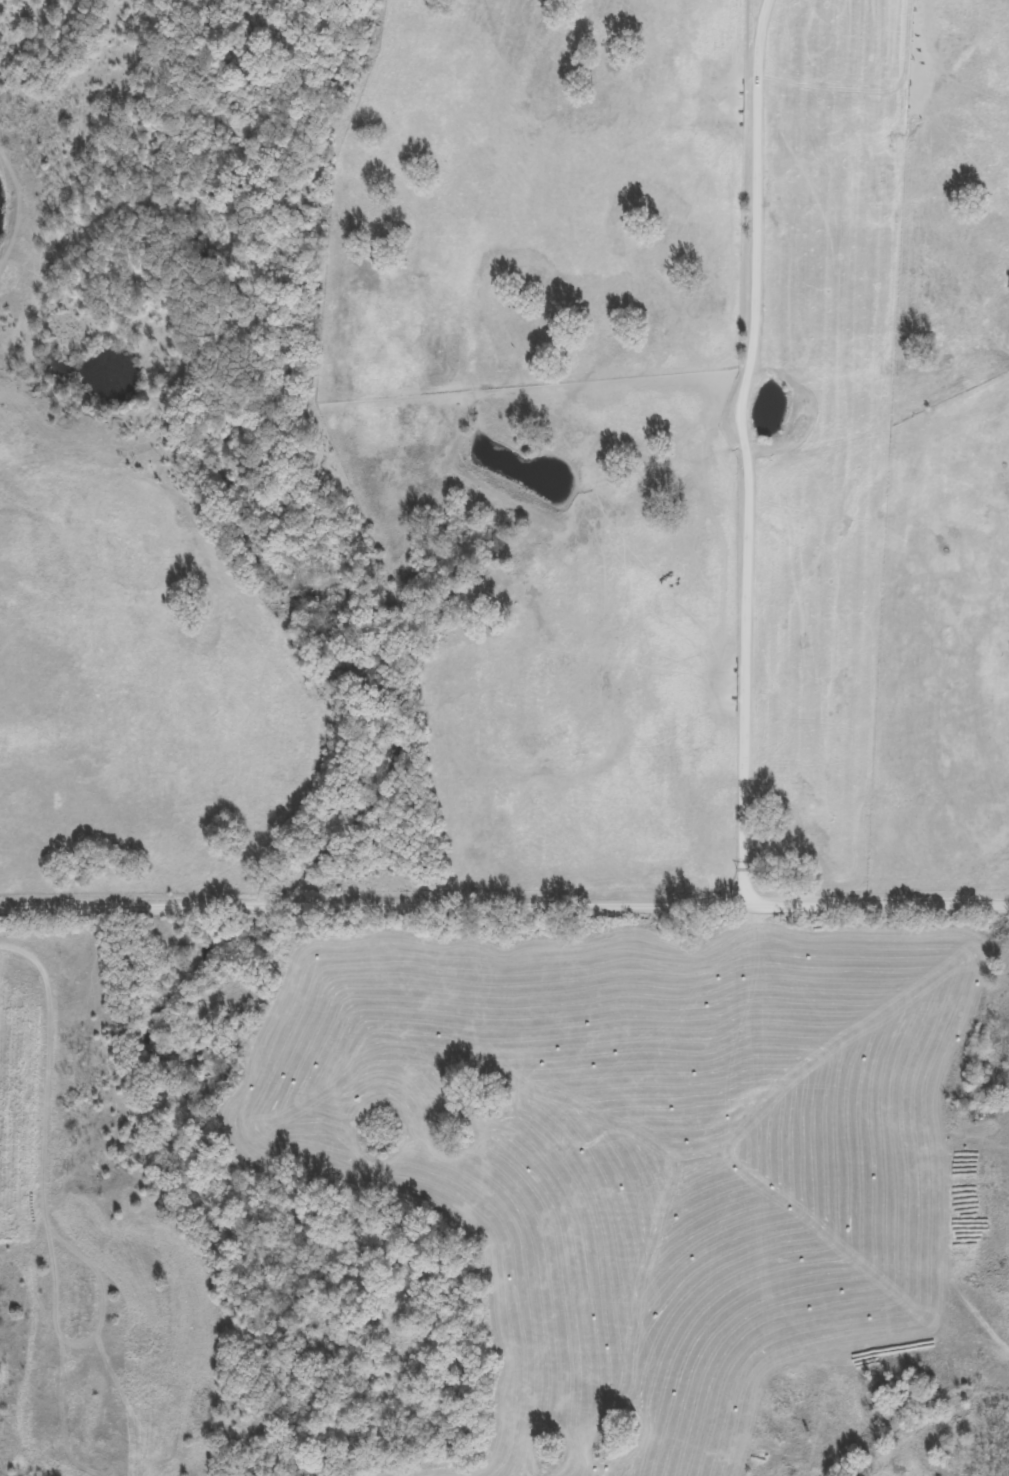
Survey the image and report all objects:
road: (754, 450)
road: (504, 907)

